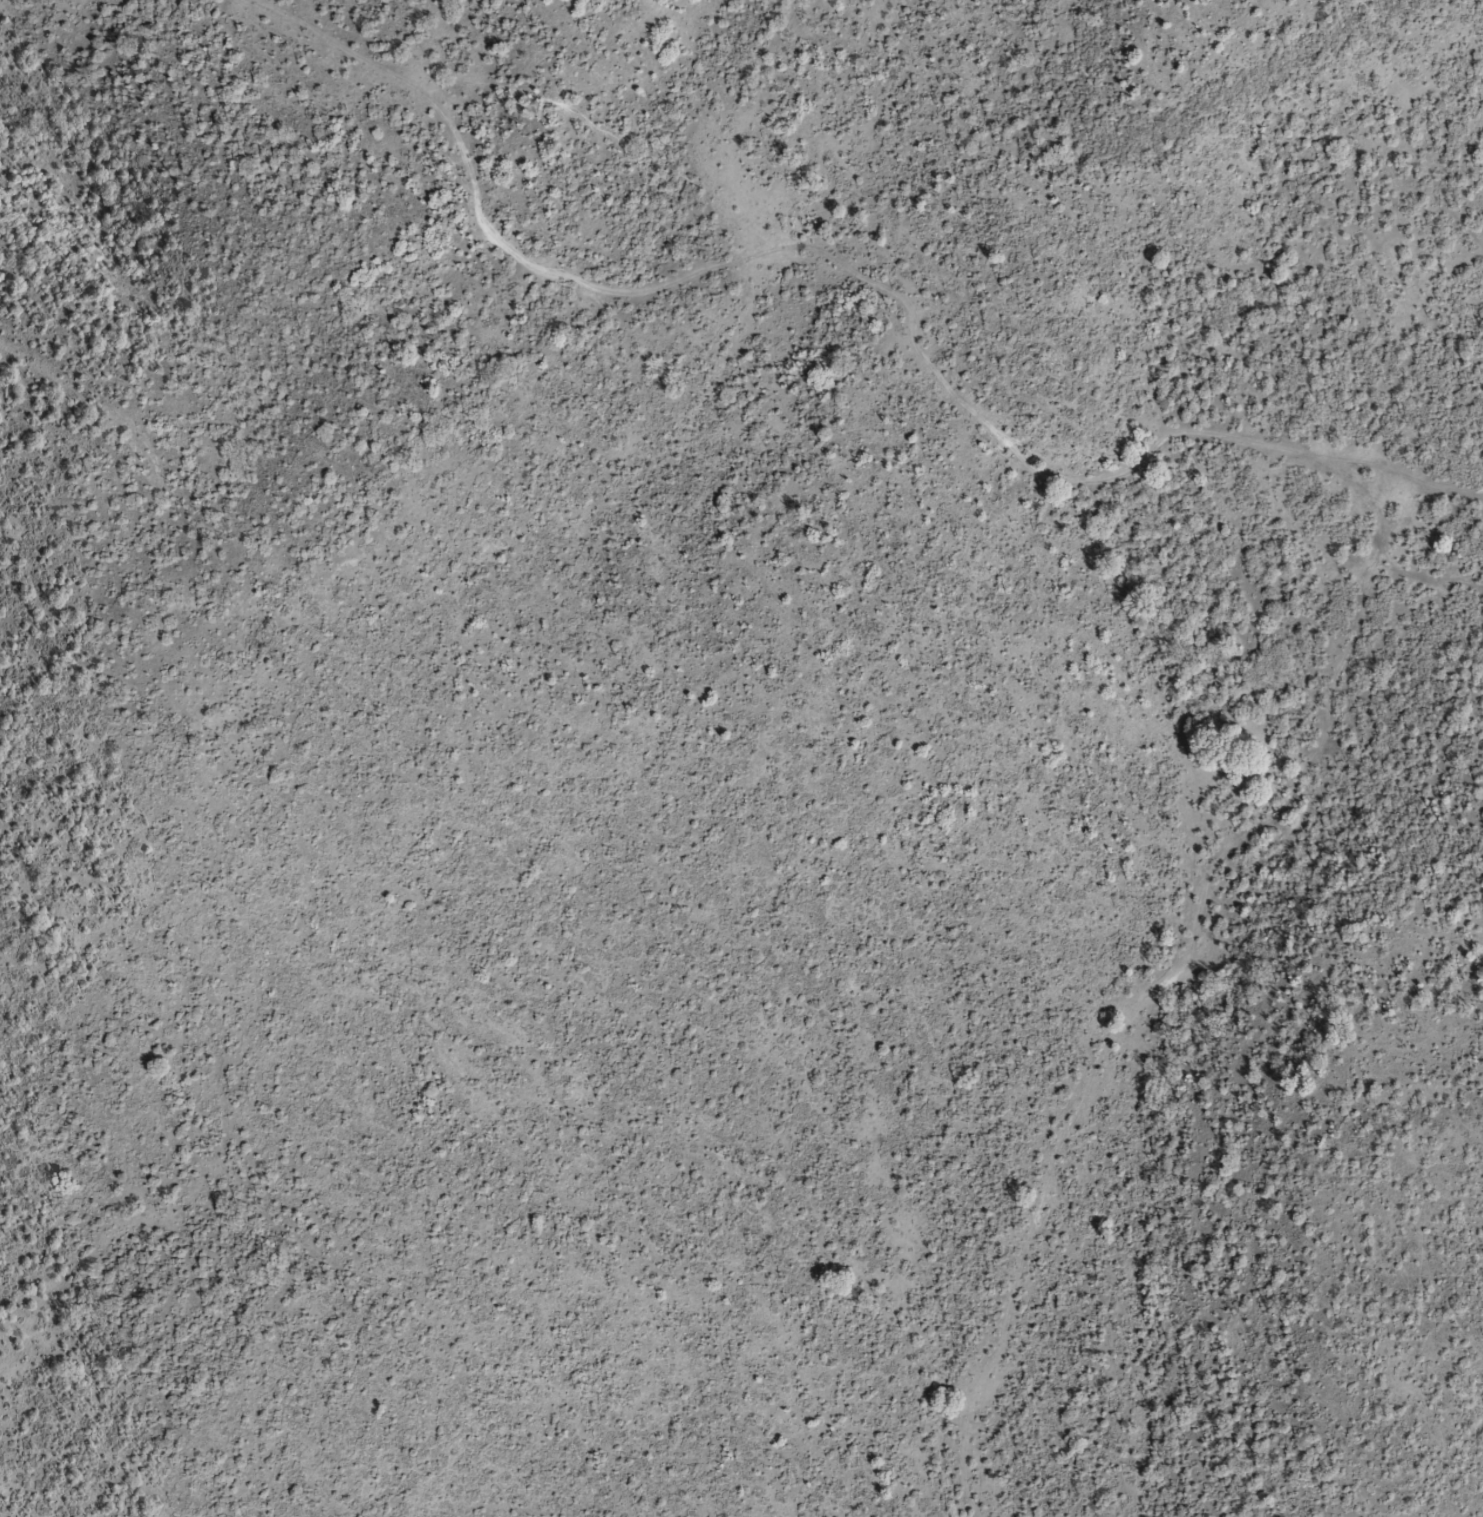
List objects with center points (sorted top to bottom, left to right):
road: (9, 0)
road: (861, 274)

